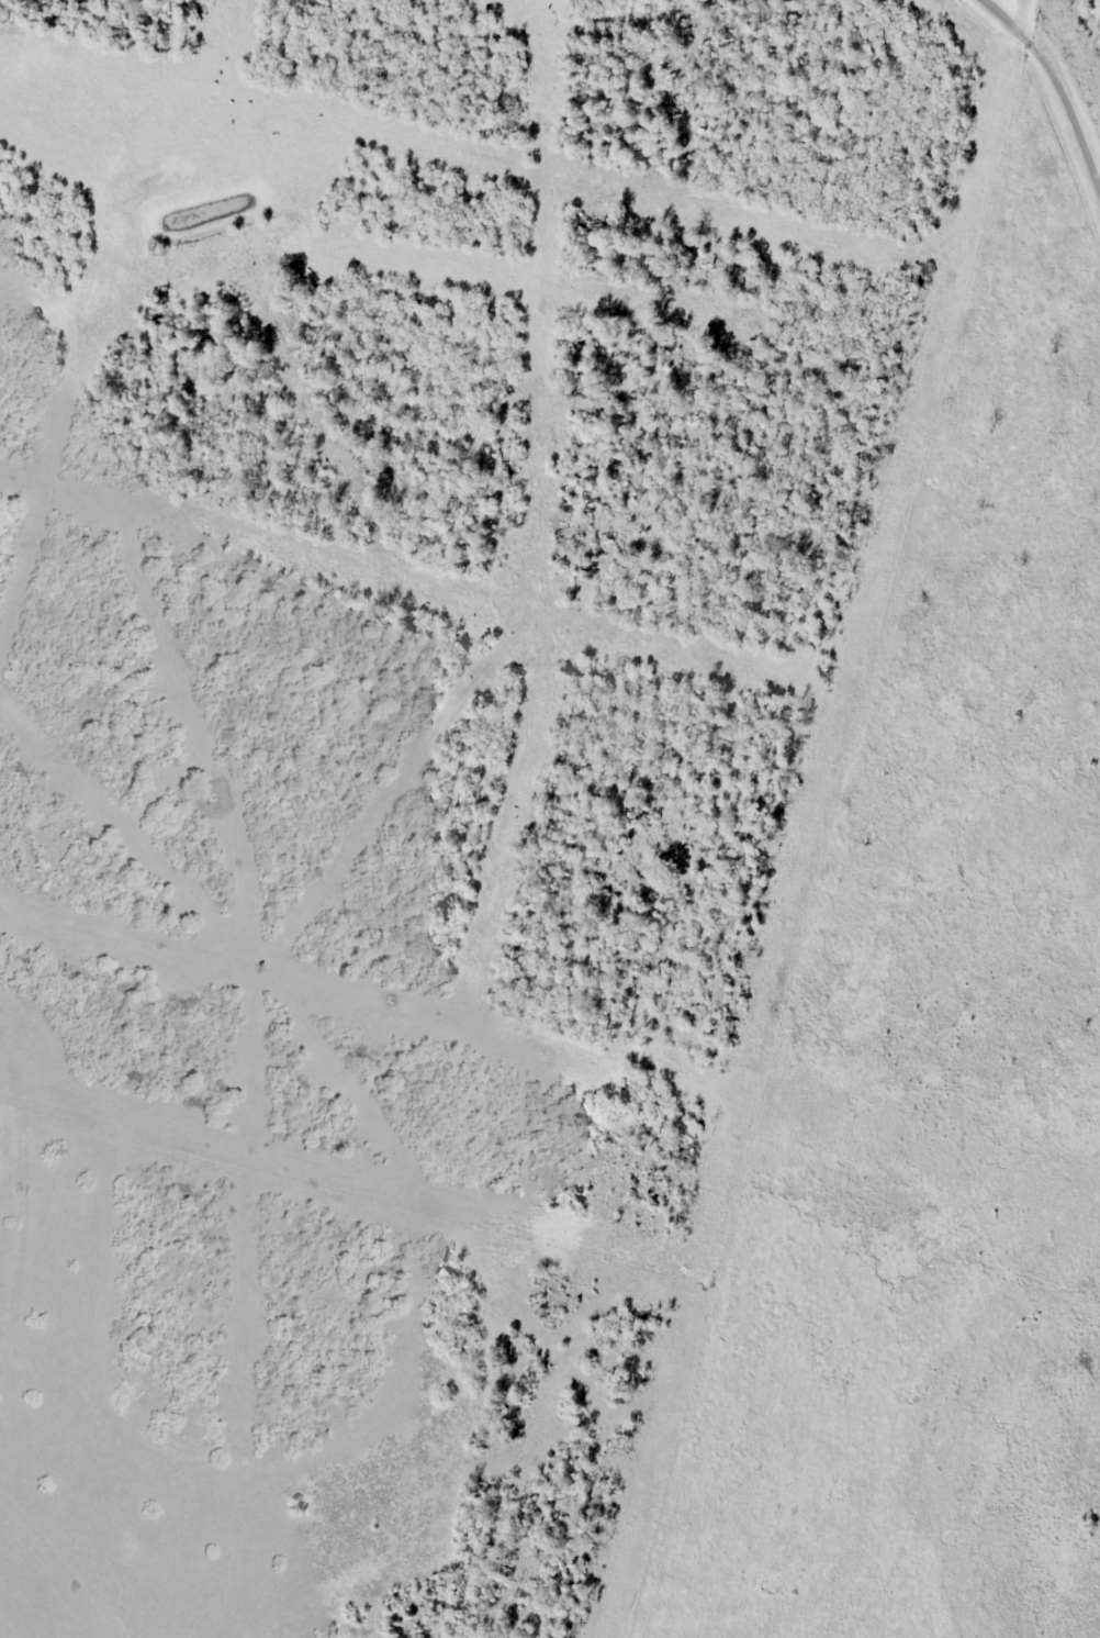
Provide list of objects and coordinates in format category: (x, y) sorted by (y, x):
road: (1059, 79)

